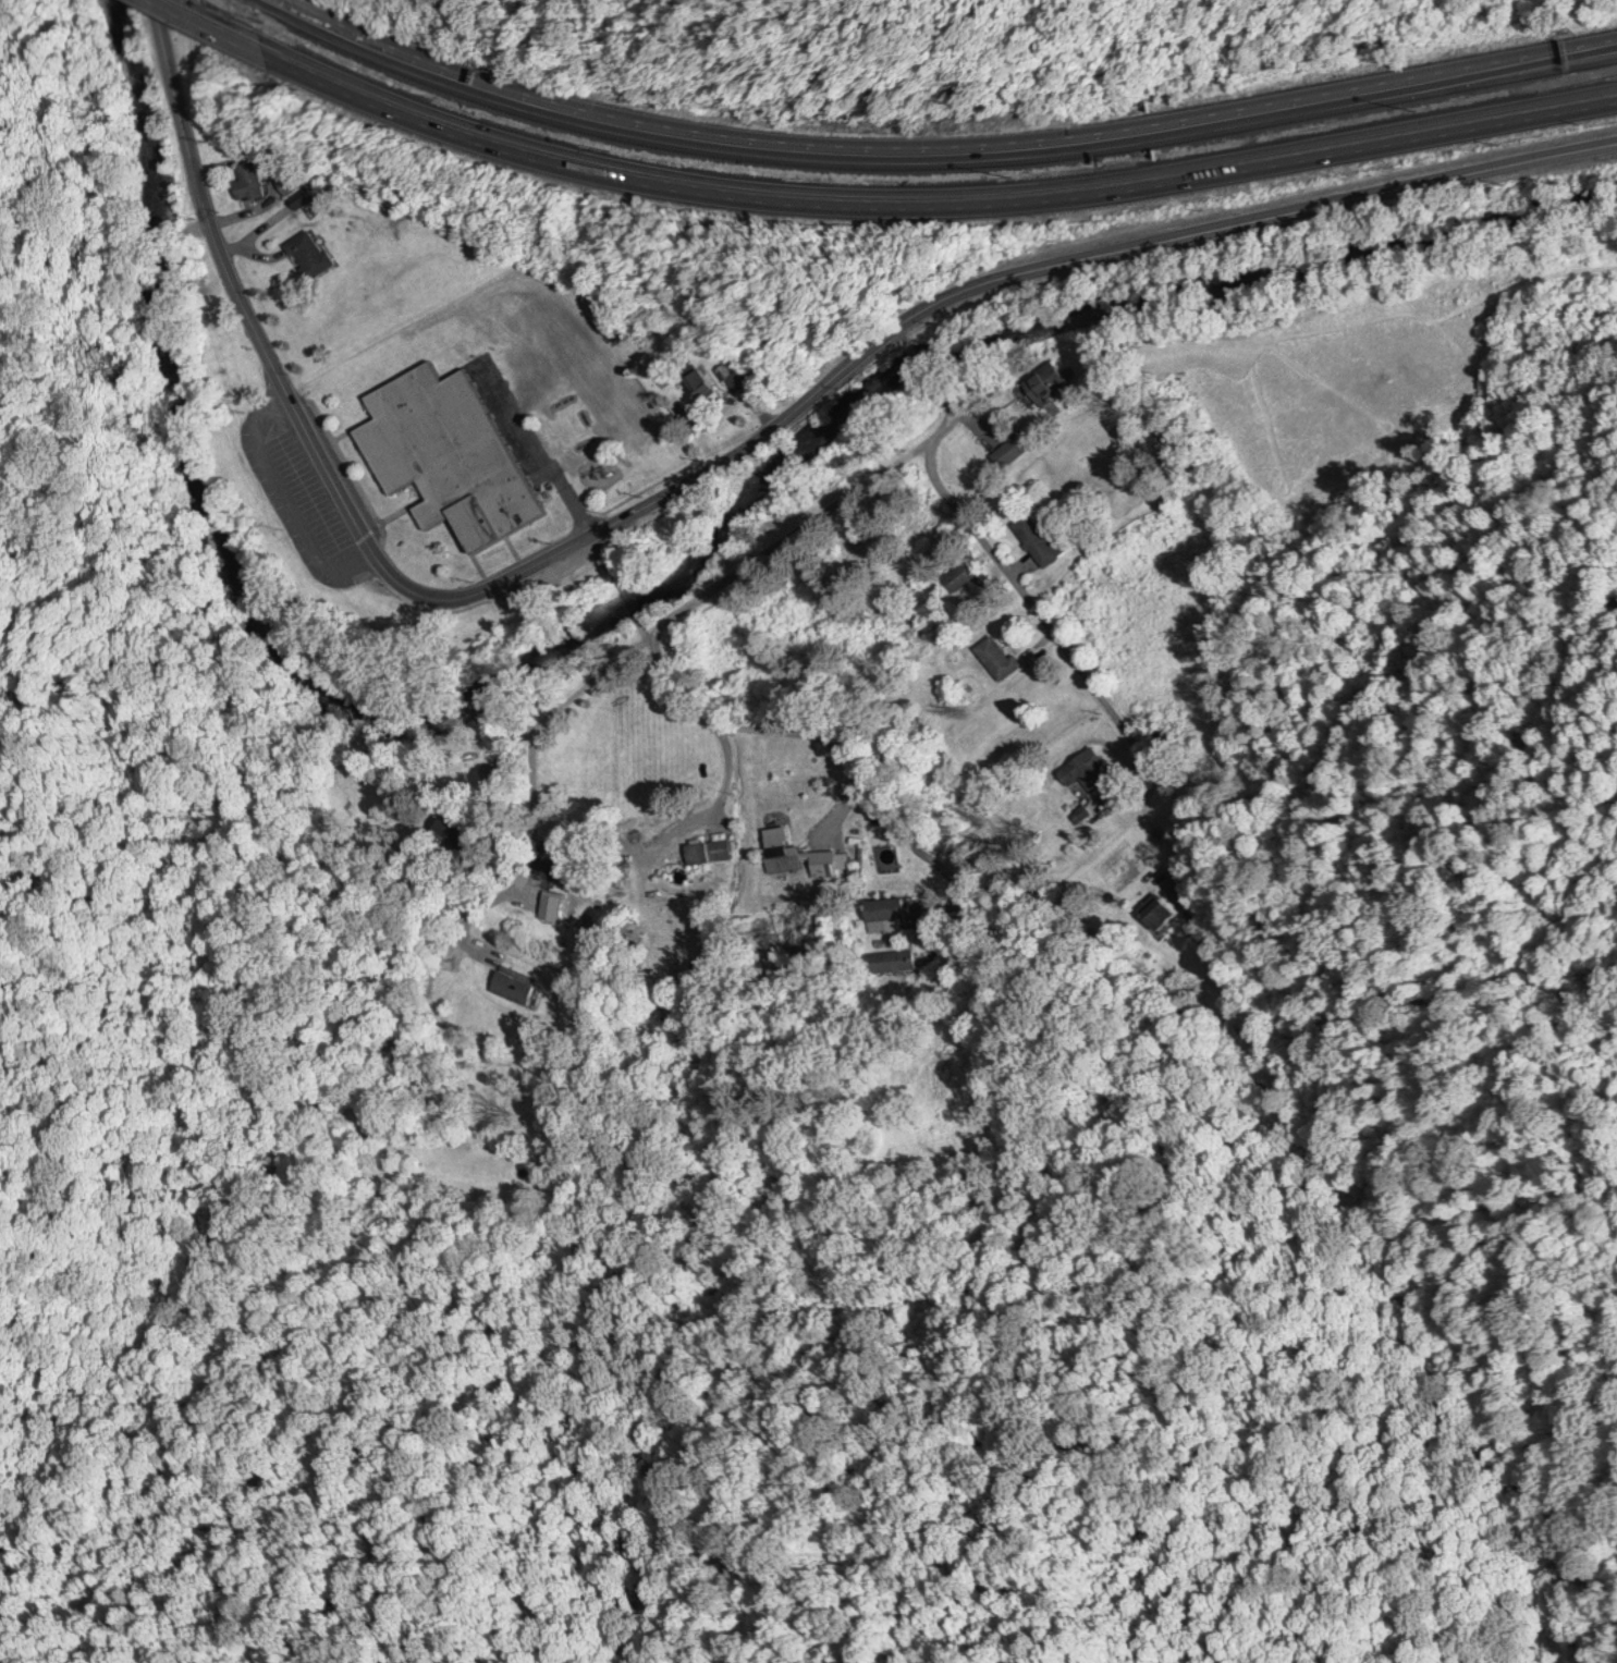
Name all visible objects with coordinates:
road: (219, 26)
road: (942, 151)
building: (249, 180)
building: (289, 181)
building: (302, 197)
road: (936, 209)
building: (309, 253)
road: (915, 353)
building: (698, 382)
building: (1034, 388)
building: (1010, 451)
building: (448, 454)
road: (709, 458)
building: (1038, 539)
building: (961, 576)
road: (1030, 598)
road: (673, 616)
building: (999, 658)
road: (801, 733)
building: (1085, 771)
building: (455, 835)
building: (710, 849)
building: (797, 854)
building: (552, 859)
building: (1159, 912)
building: (886, 914)
building: (1197, 930)
building: (891, 961)
building: (514, 986)

